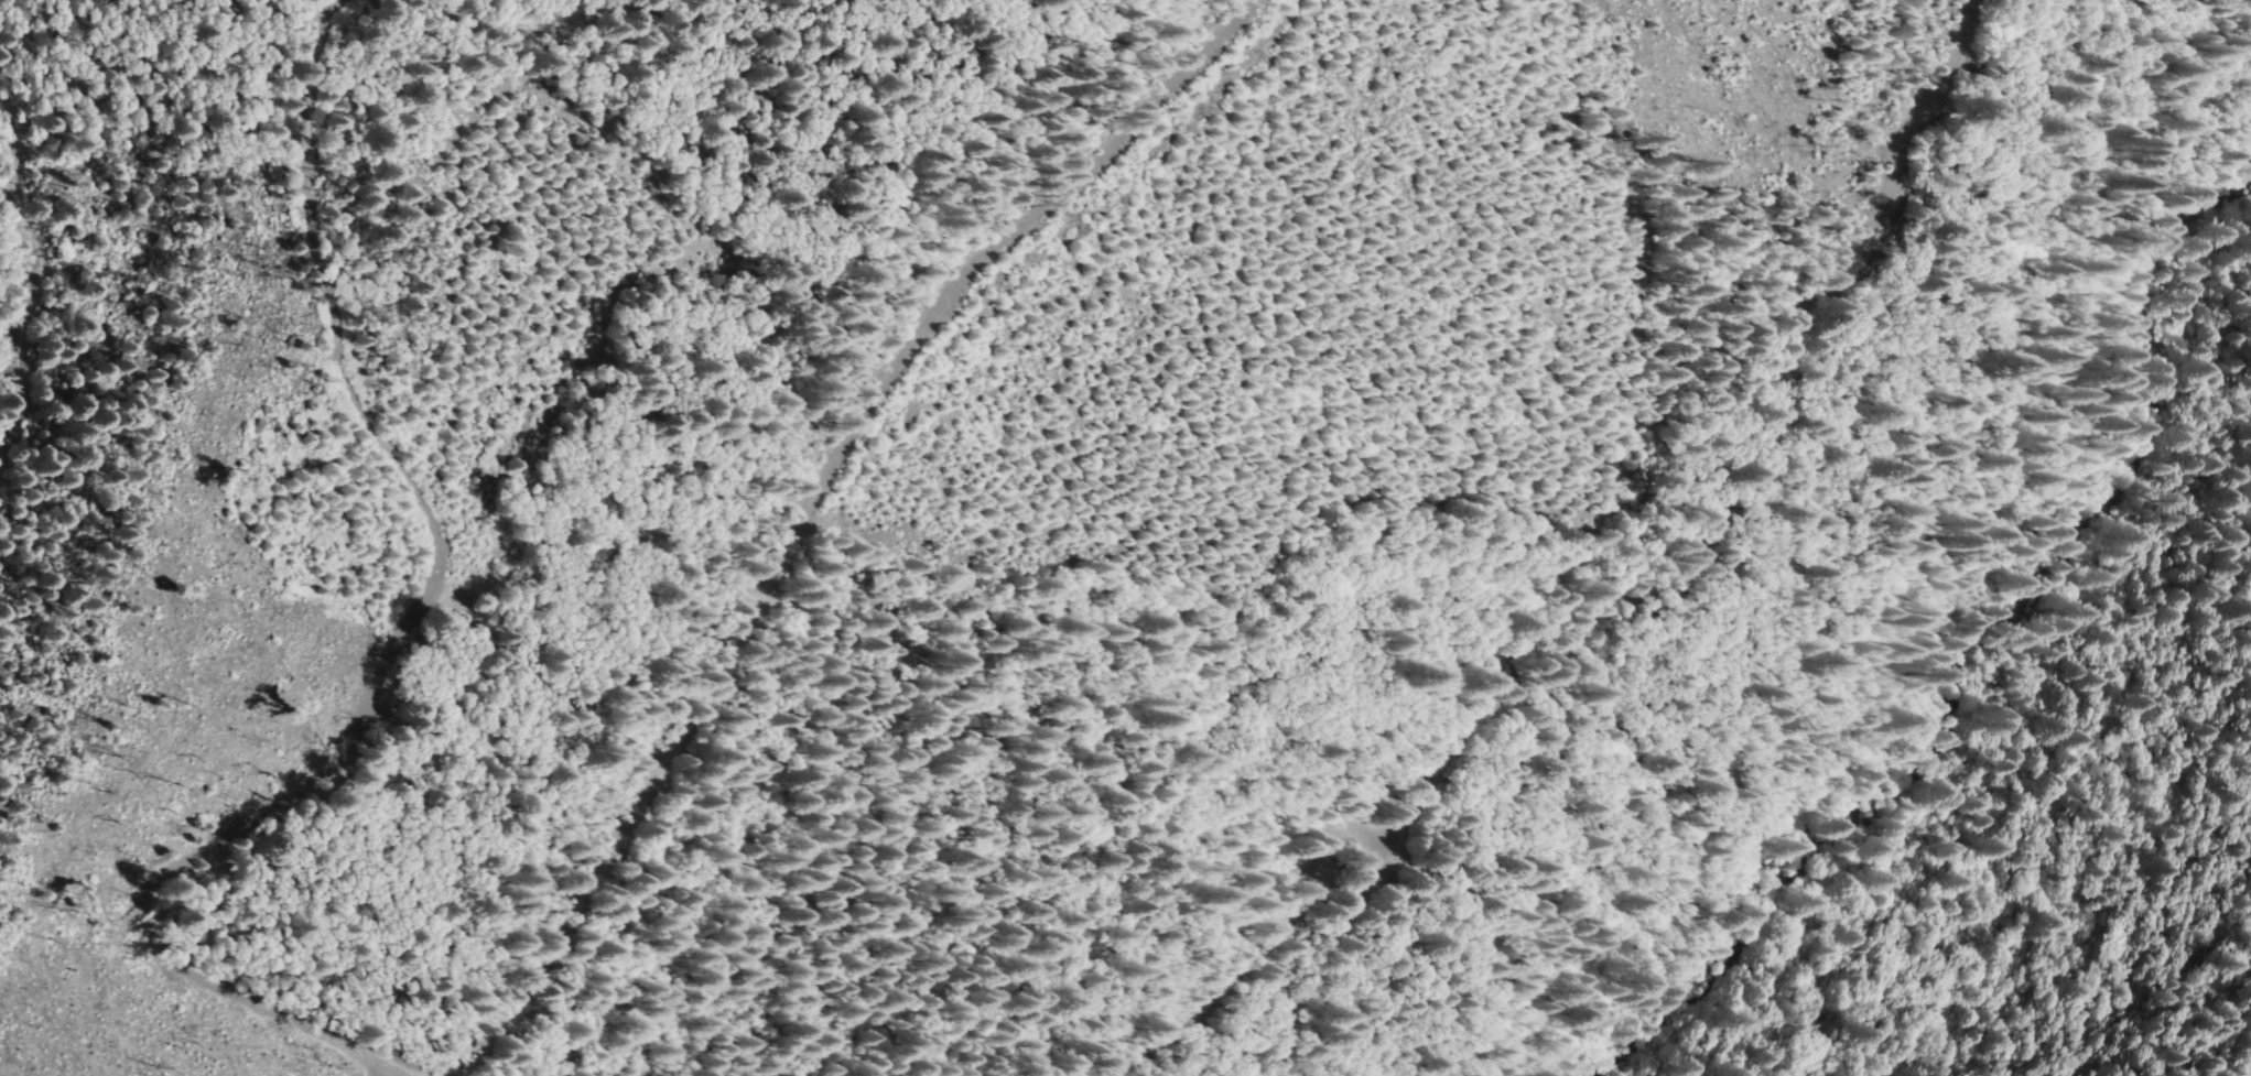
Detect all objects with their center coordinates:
road: (1630, 562)

